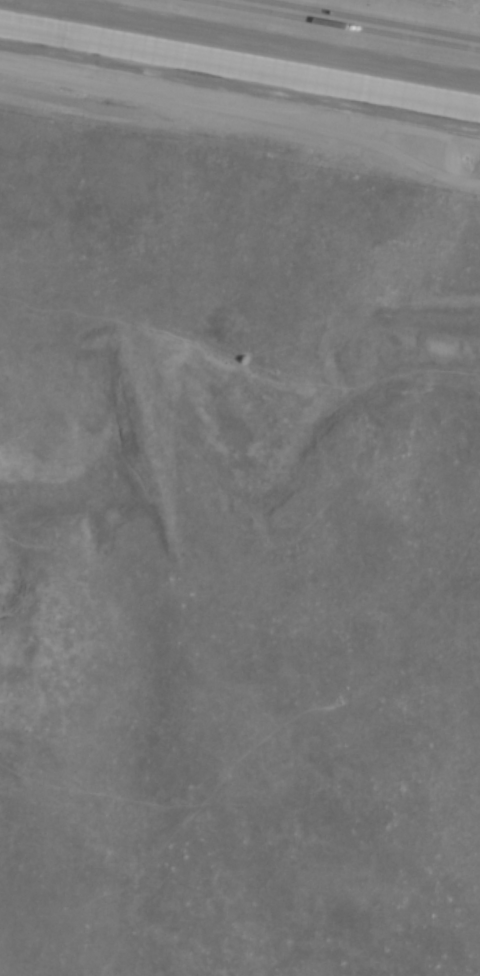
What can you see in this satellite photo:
road: (354, 21)
road: (240, 64)

